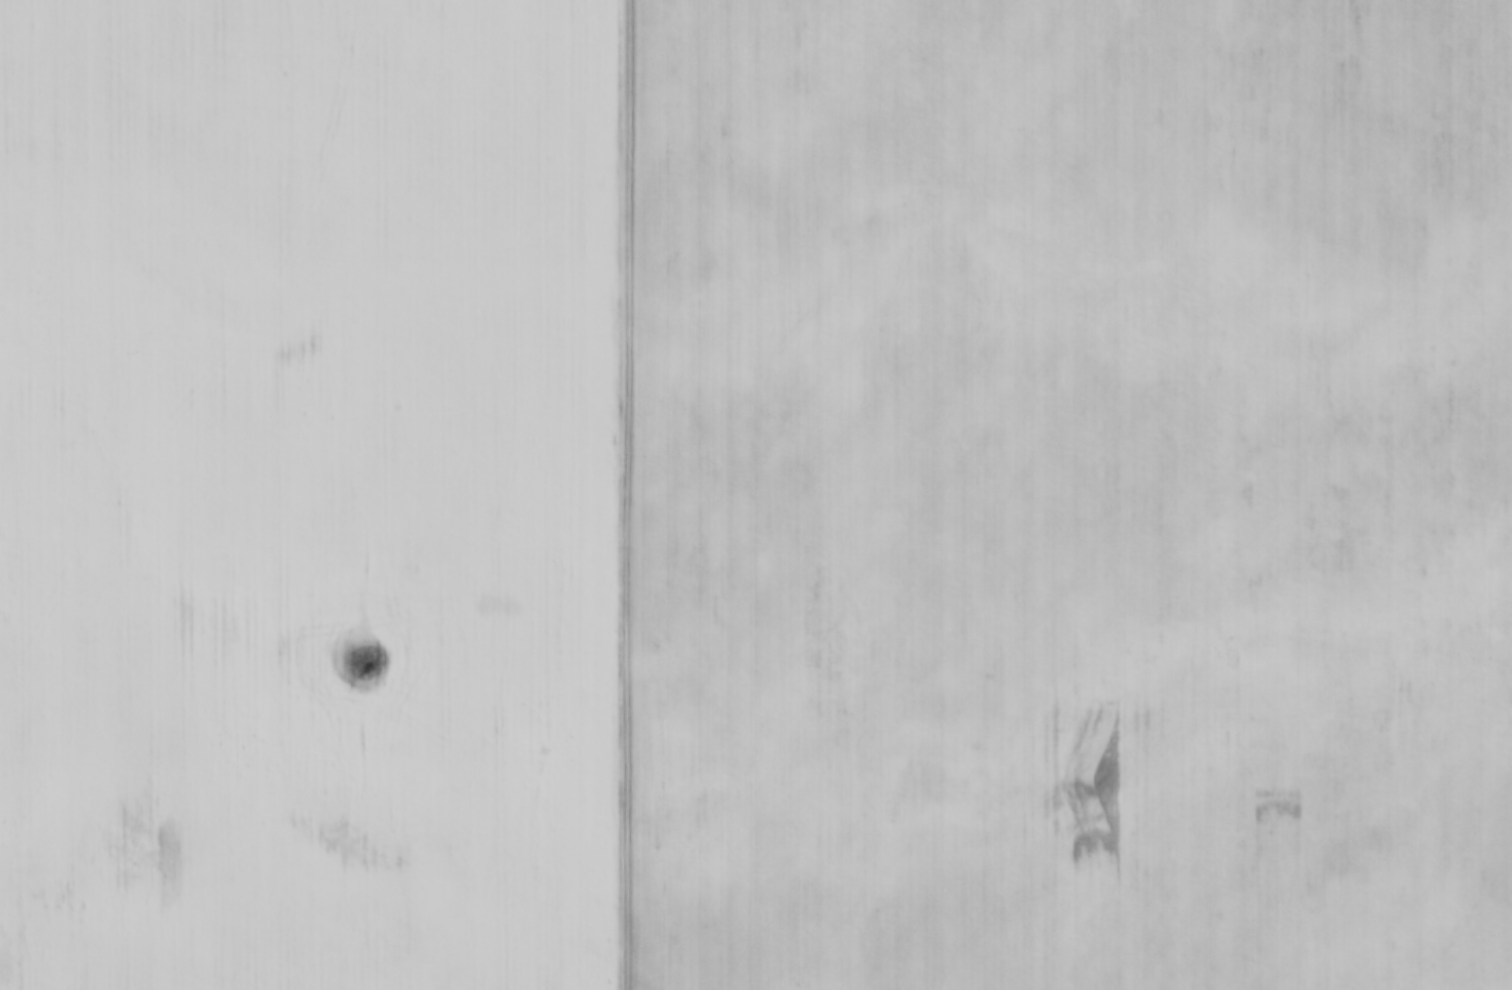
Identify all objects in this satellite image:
road: (619, 495)

